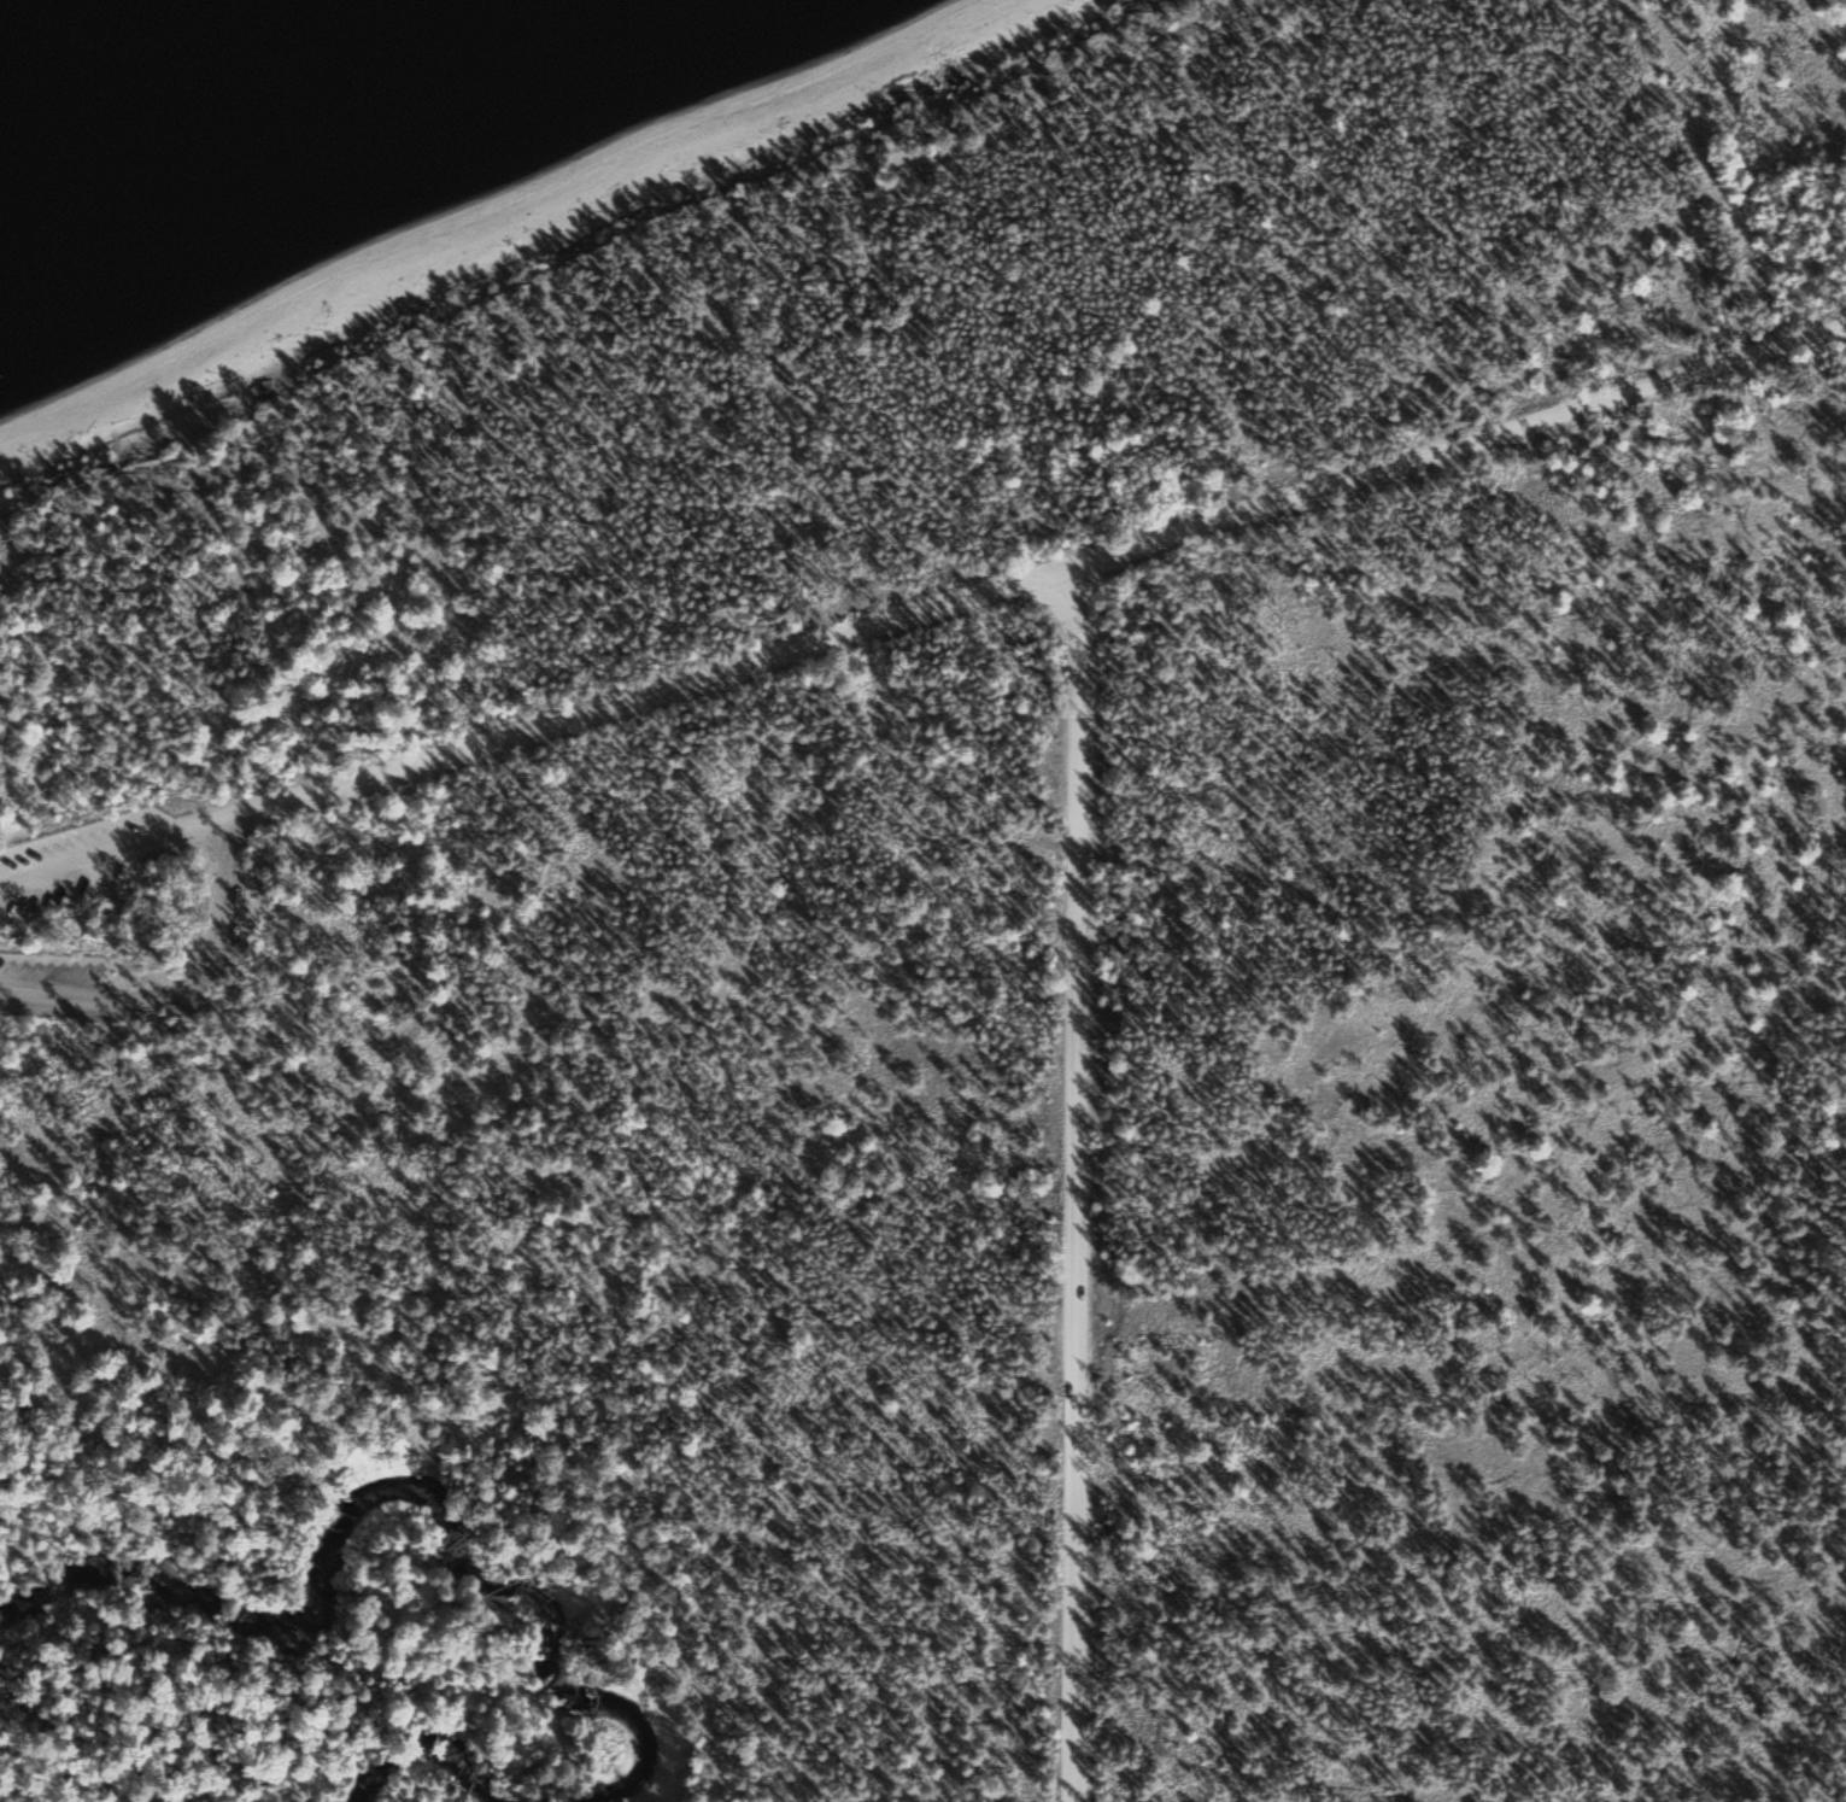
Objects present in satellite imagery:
road: (656, 274)
road: (1035, 583)
road: (109, 848)
parking lot: (92, 856)
parking lot: (221, 926)
parking lot: (60, 984)
road: (188, 993)
road: (1079, 1183)
river: (387, 1496)
river: (430, 1751)
road: (1845, 1798)

